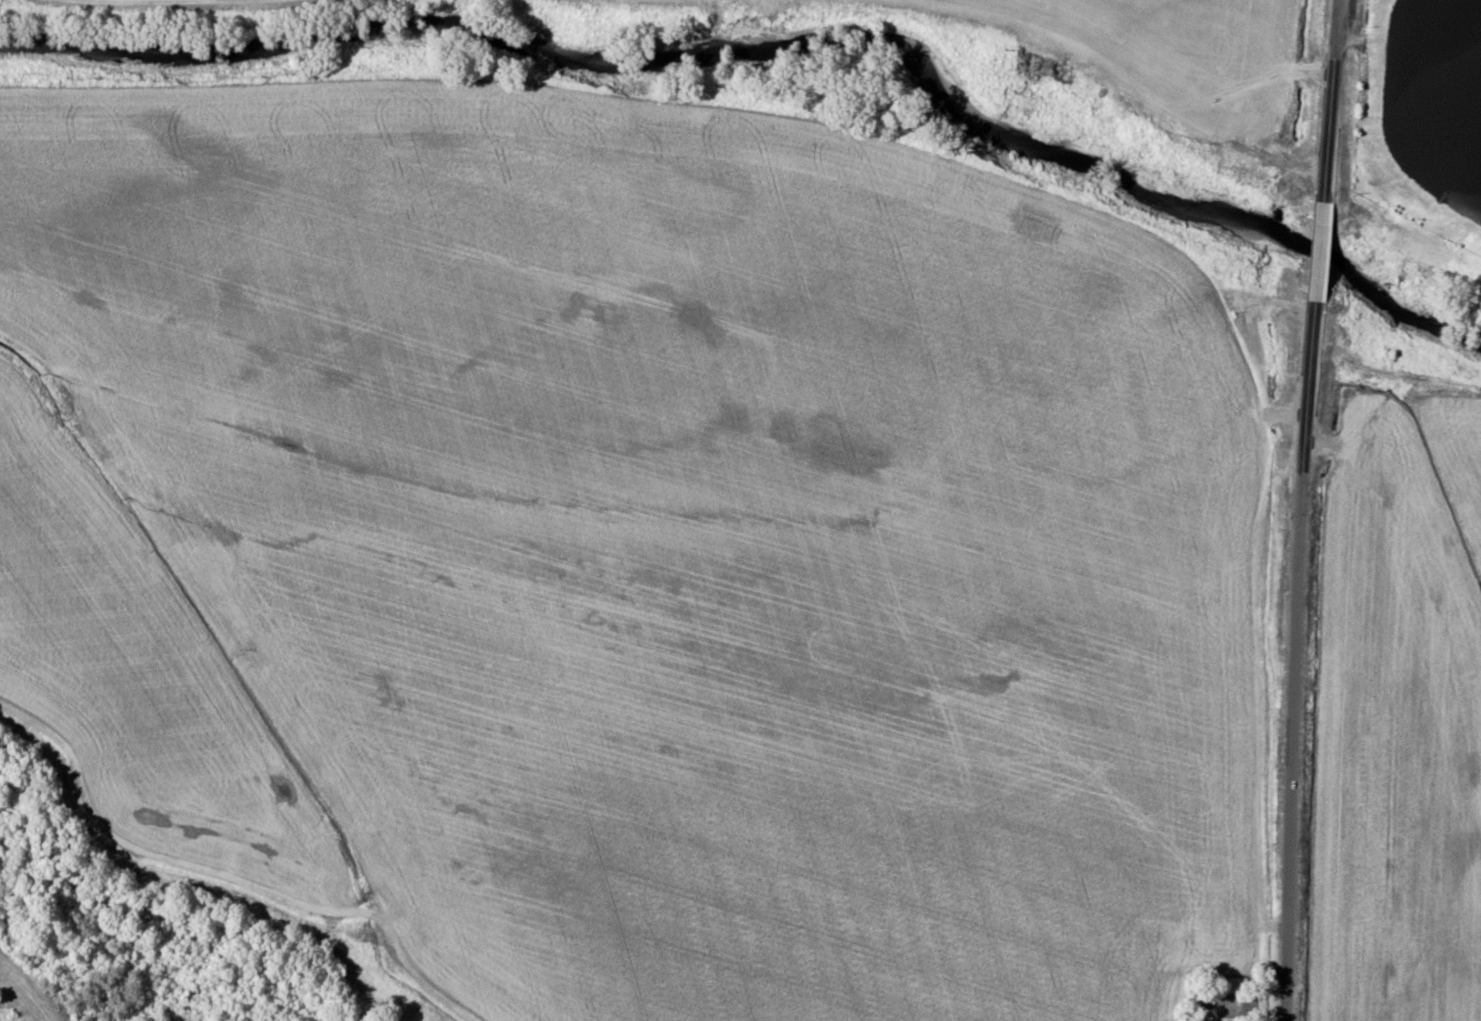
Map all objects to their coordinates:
road: (940, 24)
road: (1329, 107)
road: (1320, 252)
road: (1294, 654)

